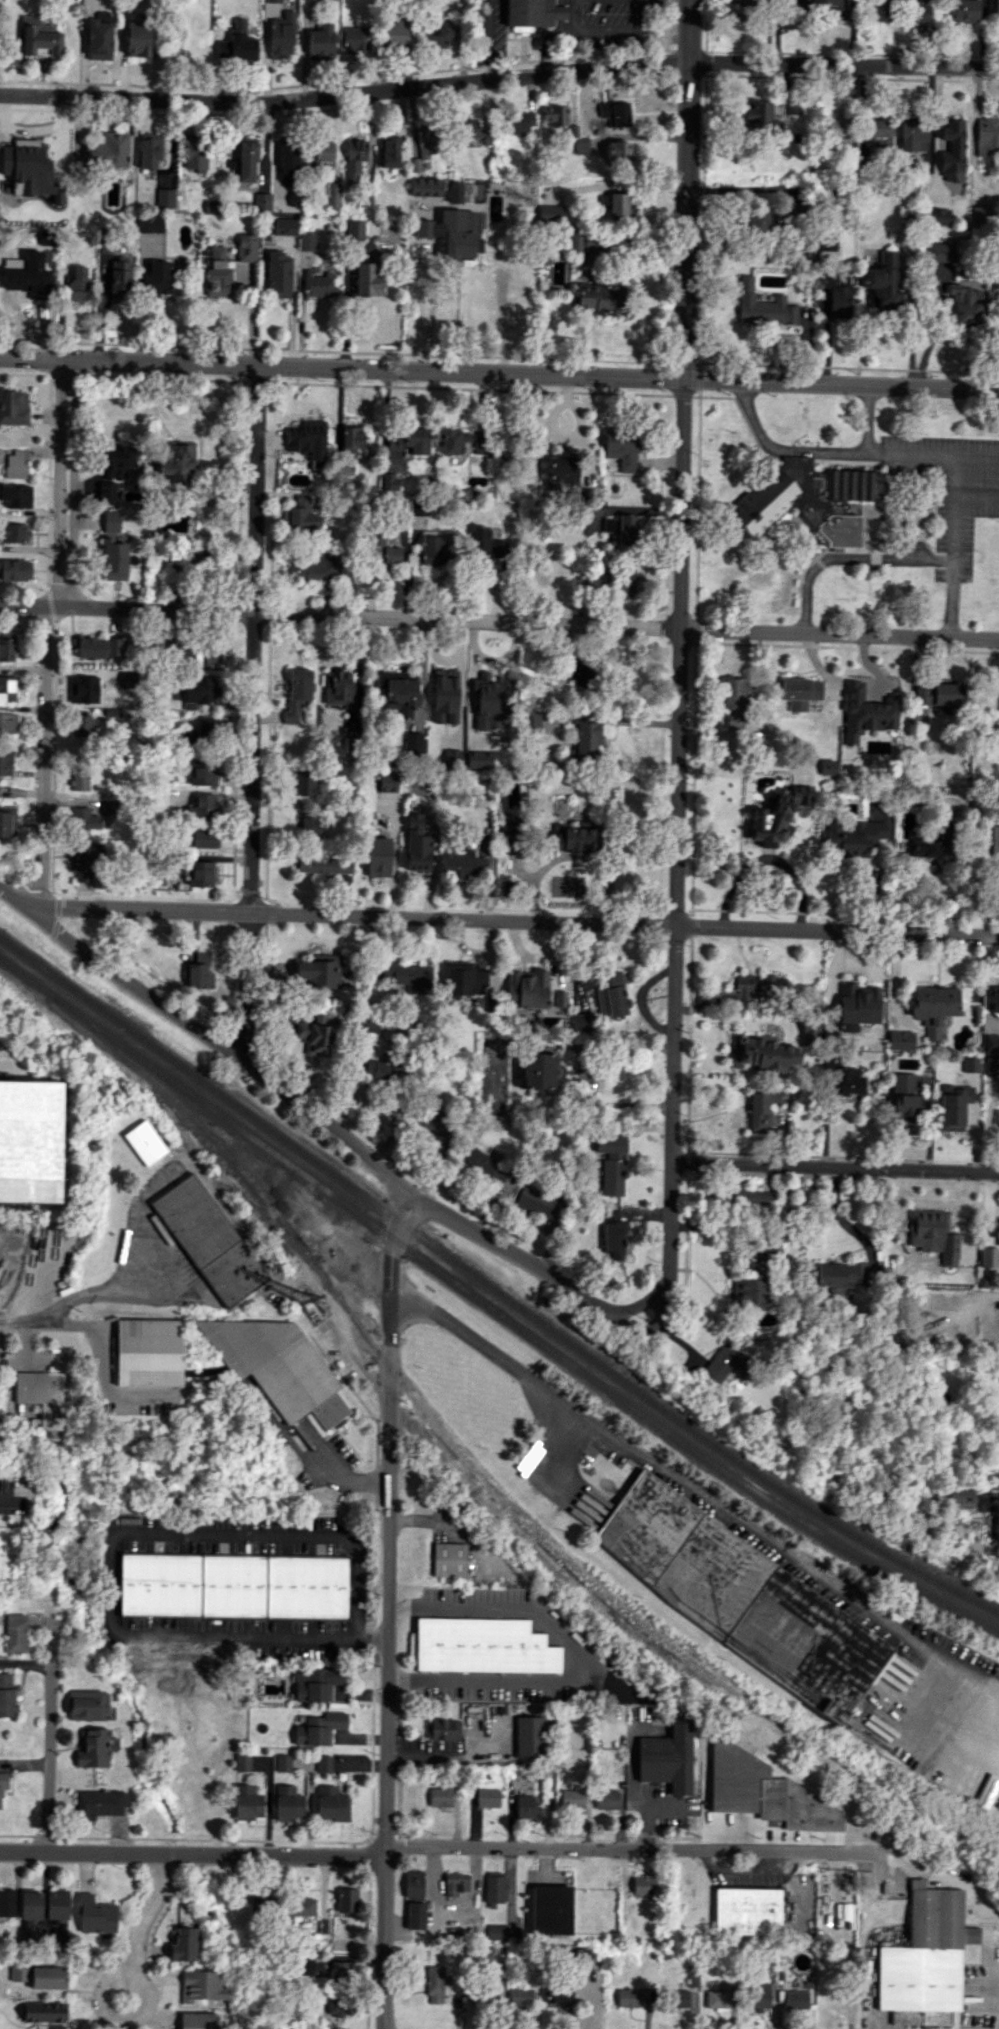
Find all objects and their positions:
building: (320, 0)
building: (801, 6)
building: (833, 8)
building: (744, 9)
building: (996, 9)
building: (964, 10)
building: (881, 11)
building: (530, 13)
building: (920, 13)
road: (619, 25)
road: (554, 32)
building: (436, 34)
building: (396, 35)
building: (281, 36)
building: (39, 37)
building: (98, 39)
building: (138, 39)
building: (354, 39)
road: (489, 39)
building: (241, 41)
building: (321, 42)
road: (499, 77)
building: (614, 112)
building: (760, 114)
building: (555, 116)
building: (520, 122)
building: (838, 127)
building: (876, 127)
building: (469, 128)
building: (913, 135)
building: (987, 136)
building: (426, 141)
building: (877, 142)
building: (581, 145)
building: (952, 150)
building: (108, 151)
building: (149, 151)
building: (388, 151)
building: (618, 152)
building: (195, 153)
building: (320, 153)
building: (354, 158)
building: (246, 160)
building: (288, 163)
building: (426, 187)
road: (688, 190)
building: (455, 192)
building: (333, 195)
building: (261, 201)
building: (613, 203)
building: (551, 213)
building: (937, 216)
building: (760, 220)
building: (150, 224)
building: (284, 226)
building: (354, 229)
building: (450, 234)
building: (48, 237)
building: (307, 240)
building: (247, 247)
building: (940, 252)
building: (217, 273)
building: (278, 275)
building: (39, 278)
building: (120, 278)
building: (368, 278)
building: (158, 279)
building: (884, 281)
building: (75, 284)
building: (318, 285)
building: (598, 299)
building: (839, 300)
building: (966, 301)
road: (430, 305)
building: (762, 305)
road: (499, 373)
building: (13, 406)
building: (452, 439)
building: (308, 441)
road: (813, 448)
building: (622, 449)
road: (933, 454)
building: (117, 461)
building: (15, 464)
building: (176, 464)
building: (561, 470)
road: (72, 480)
building: (389, 480)
road: (58, 482)
building: (106, 492)
building: (16, 495)
road: (976, 495)
building: (818, 499)
building: (300, 515)
building: (110, 521)
building: (622, 527)
building: (12, 532)
building: (479, 544)
road: (952, 544)
building: (434, 547)
building: (382, 550)
road: (848, 558)
building: (113, 560)
building: (315, 566)
building: (15, 569)
building: (624, 581)
road: (499, 621)
building: (6, 646)
building: (98, 646)
building: (7, 688)
building: (83, 689)
building: (340, 689)
building: (199, 691)
building: (296, 691)
building: (399, 691)
building: (800, 692)
building: (938, 694)
building: (444, 699)
building: (735, 701)
building: (493, 702)
building: (866, 712)
road: (252, 713)
building: (531, 720)
building: (8, 723)
building: (81, 725)
building: (200, 731)
building: (586, 740)
building: (352, 746)
road: (46, 758)
building: (478, 759)
building: (5, 762)
building: (202, 772)
building: (79, 779)
building: (387, 782)
building: (305, 784)
building: (202, 807)
building: (775, 815)
building: (83, 818)
building: (7, 821)
building: (308, 823)
building: (510, 834)
building: (853, 836)
building: (202, 838)
building: (578, 838)
road: (679, 838)
building: (995, 839)
building: (416, 844)
building: (929, 845)
building: (378, 856)
building: (83, 859)
building: (461, 863)
building: (324, 865)
building: (199, 873)
road: (517, 921)
building: (318, 971)
building: (199, 972)
building: (408, 976)
building: (464, 978)
building: (527, 988)
building: (753, 988)
building: (611, 994)
building: (992, 998)
building: (857, 1006)
building: (934, 1007)
road: (726, 1017)
building: (579, 1022)
building: (371, 1024)
building: (806, 1032)
building: (314, 1034)
building: (900, 1039)
road: (622, 1045)
building: (762, 1052)
building: (970, 1064)
building: (381, 1070)
building: (540, 1070)
building: (847, 1080)
railway: (209, 1085)
building: (904, 1099)
railway: (203, 1103)
building: (953, 1106)
building: (761, 1108)
road: (309, 1111)
building: (437, 1122)
building: (996, 1123)
building: (30, 1141)
building: (146, 1143)
building: (611, 1162)
building: (483, 1164)
road: (835, 1164)
building: (753, 1196)
building: (536, 1202)
road: (836, 1214)
building: (996, 1233)
building: (932, 1234)
building: (614, 1235)
building: (210, 1239)
building: (986, 1252)
building: (755, 1263)
building: (840, 1274)
road: (98, 1290)
building: (749, 1294)
road: (647, 1309)
road: (25, 1320)
building: (150, 1351)
building: (725, 1362)
building: (279, 1368)
building: (41, 1395)
railway: (440, 1427)
railway: (698, 1436)
railway: (694, 1450)
road: (539, 1469)
road: (338, 1470)
building: (960, 1498)
road: (3, 1506)
road: (717, 1508)
road: (422, 1517)
building: (997, 1521)
road: (108, 1548)
building: (448, 1558)
building: (234, 1585)
building: (742, 1596)
road: (388, 1610)
building: (16, 1633)
building: (483, 1645)
road: (574, 1655)
building: (316, 1682)
building: (6, 1694)
building: (87, 1705)
building: (318, 1728)
building: (441, 1728)
building: (528, 1737)
road: (50, 1739)
building: (95, 1747)
building: (668, 1758)
building: (242, 1762)
building: (283, 1762)
building: (323, 1763)
building: (3, 1782)
building: (765, 1791)
building: (439, 1796)
building: (487, 1797)
building: (571, 1798)
building: (606, 1799)
building: (247, 1802)
building: (100, 1803)
building: (287, 1803)
building: (331, 1804)
building: (524, 1806)
road: (646, 1810)
road: (422, 1846)
road: (929, 1868)
building: (412, 1883)
building: (645, 1888)
building: (493, 1889)
building: (346, 1899)
building: (7, 1902)
building: (57, 1904)
building: (31, 1905)
building: (261, 1905)
building: (303, 1906)
building: (551, 1908)
building: (748, 1911)
road: (145, 1912)
building: (95, 1915)
building: (415, 1915)
building: (495, 1931)
building: (27, 1934)
building: (183, 1944)
building: (492, 1954)
building: (585, 1955)
building: (926, 1959)
building: (19, 1972)
building: (46, 1977)
building: (434, 1984)
building: (201, 1985)
building: (556, 1995)
building: (759, 1995)
building: (520, 1996)
building: (630, 1996)
building: (486, 1998)
building: (677, 1998)
building: (713, 1999)
building: (795, 1999)
building: (337, 2003)
building: (44, 2011)
road: (128, 2020)
building: (195, 2020)
building: (55, 2026)

